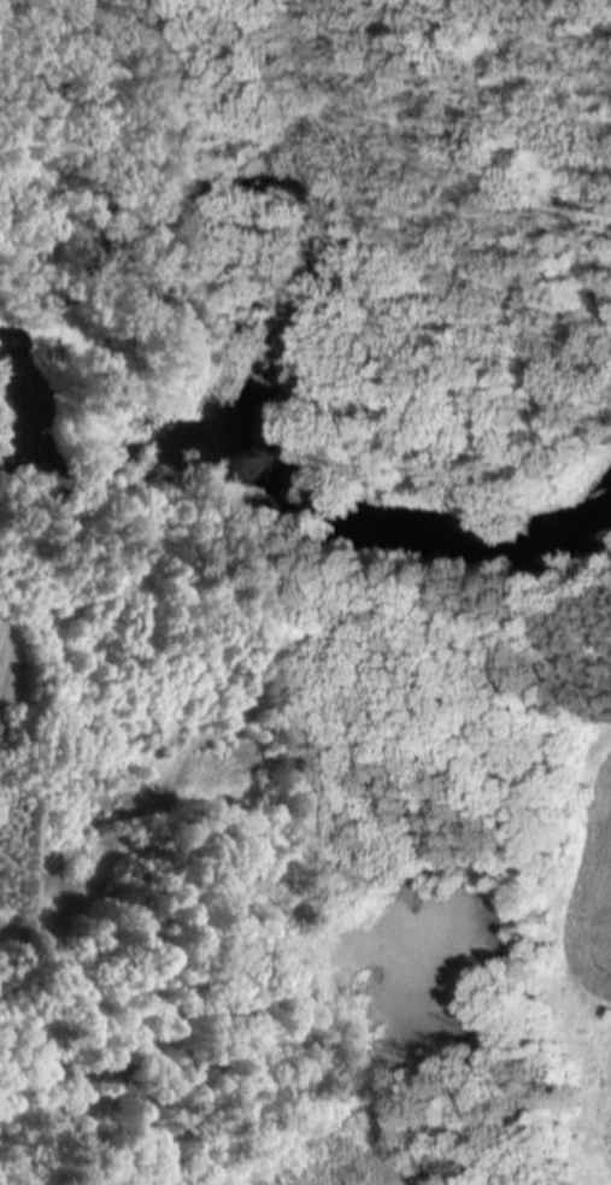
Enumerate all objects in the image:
river: (310, 438)

